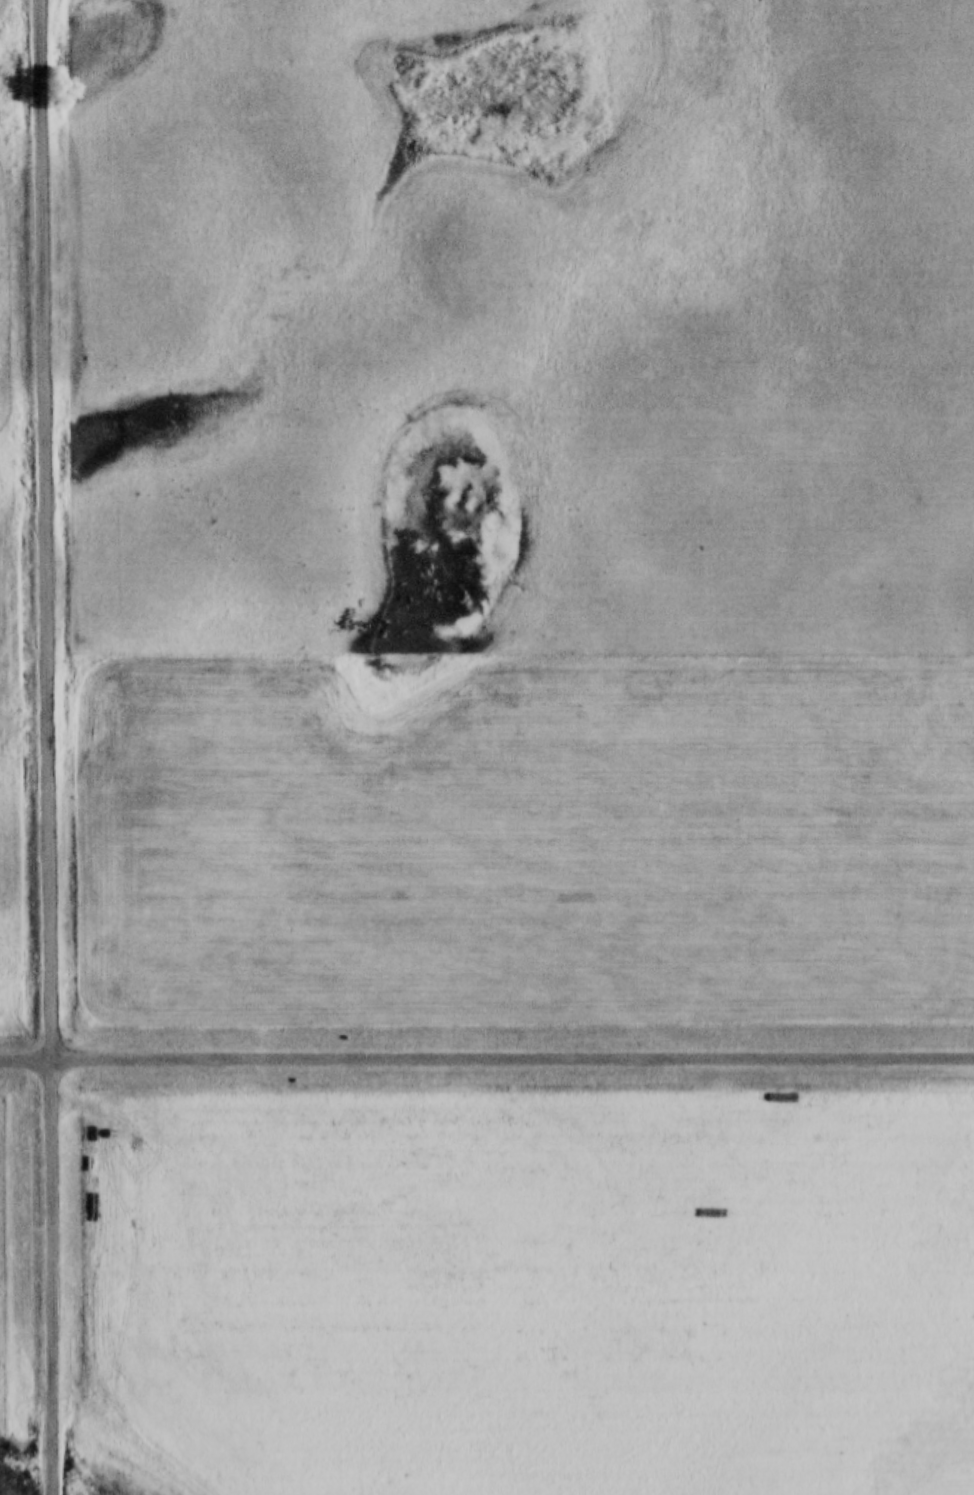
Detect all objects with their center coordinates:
road: (46, 747)
road: (486, 1058)

